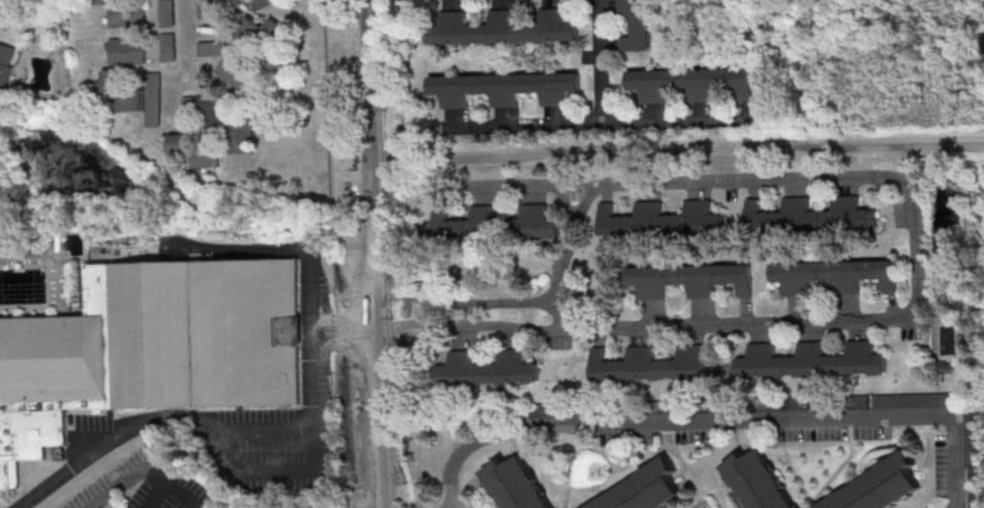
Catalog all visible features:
building: (237, 2)
building: (266, 3)
building: (203, 8)
building: (115, 11)
building: (164, 12)
building: (637, 25)
building: (500, 27)
building: (256, 32)
building: (982, 39)
building: (165, 46)
building: (209, 47)
building: (125, 50)
road: (603, 62)
building: (5, 63)
road: (183, 63)
building: (234, 71)
building: (691, 82)
building: (504, 87)
building: (122, 89)
building: (151, 99)
building: (220, 120)
road: (601, 124)
road: (677, 148)
building: (194, 149)
building: (812, 215)
building: (661, 220)
building: (536, 222)
building: (464, 224)
road: (243, 248)
road: (563, 249)
road: (372, 254)
building: (834, 275)
building: (688, 278)
road: (918, 285)
road: (345, 322)
road: (345, 340)
building: (151, 348)
building: (811, 360)
building: (654, 363)
building: (486, 369)
building: (915, 401)
building: (840, 402)
building: (747, 405)
building: (655, 408)
building: (607, 409)
building: (547, 411)
road: (724, 420)
road: (234, 429)
building: (973, 459)
road: (138, 467)
building: (758, 482)
building: (514, 483)
parking lot: (147, 486)
building: (641, 487)
building: (885, 488)
road: (184, 494)
parking lot: (297, 505)

